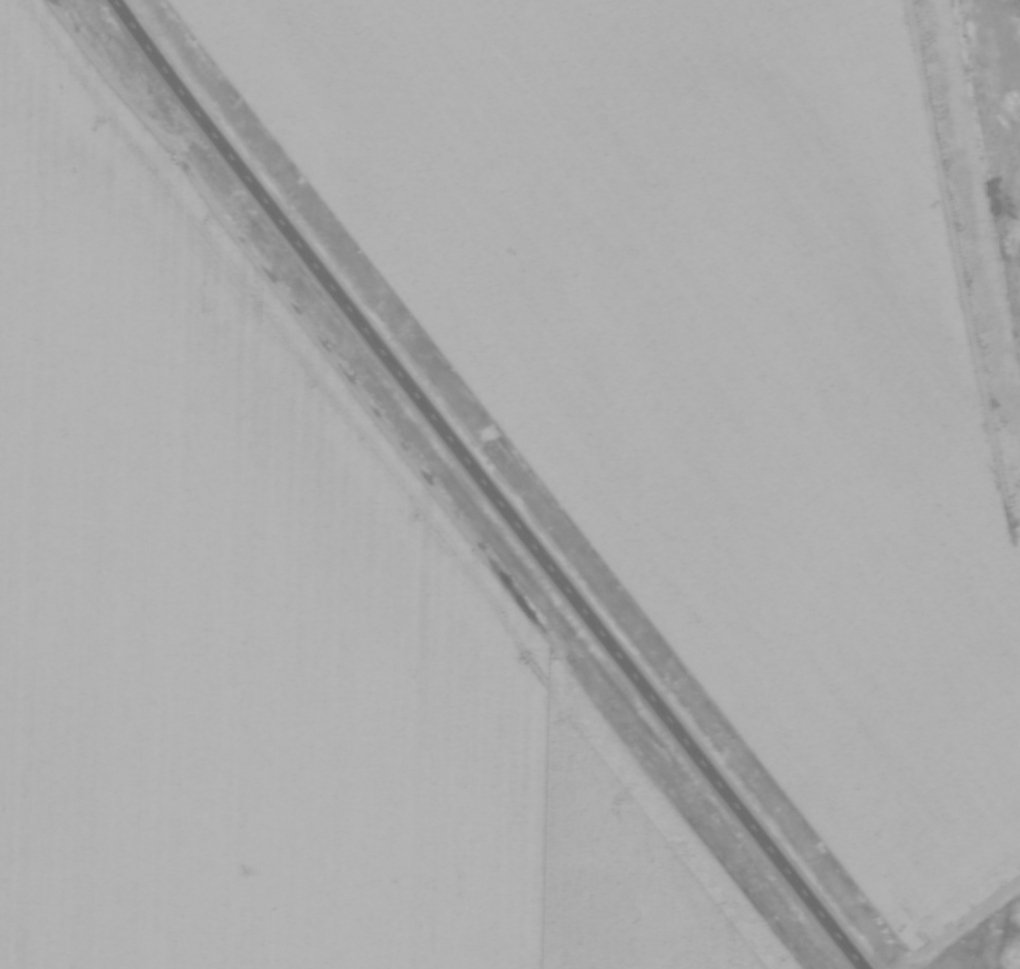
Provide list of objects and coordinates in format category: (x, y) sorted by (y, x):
road: (484, 487)

